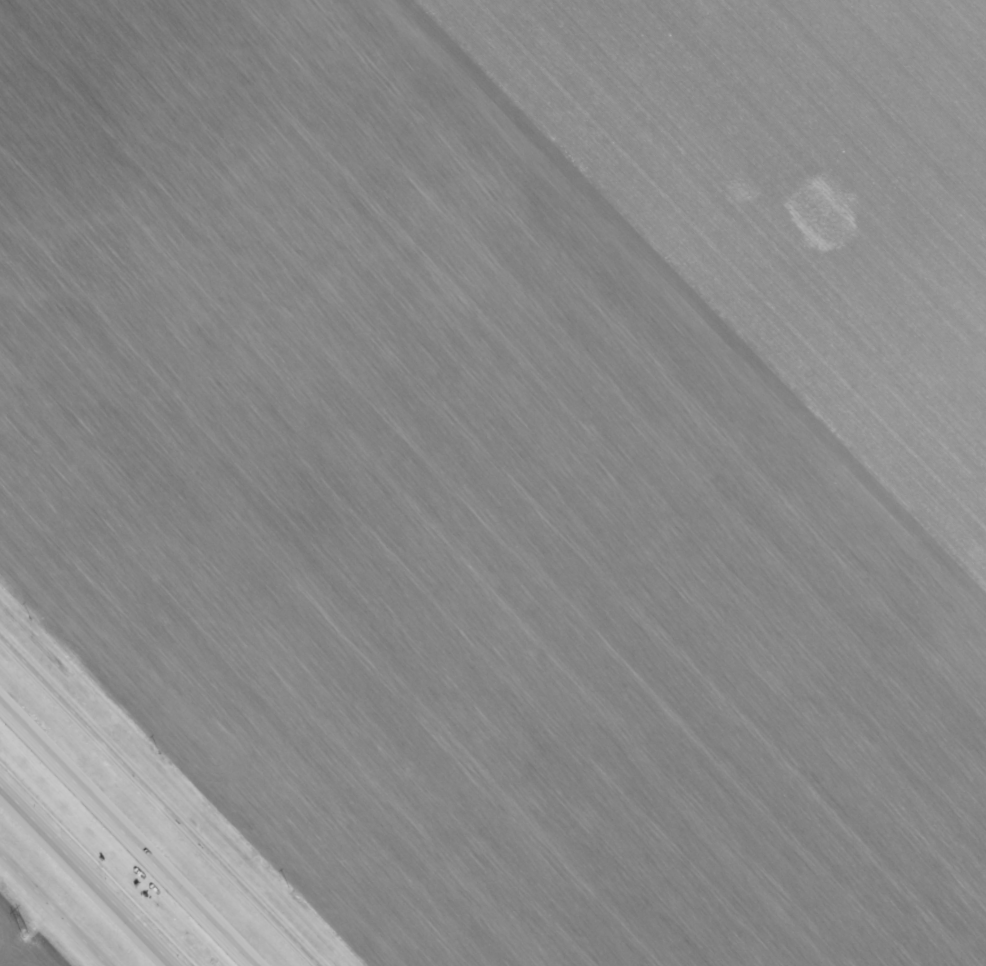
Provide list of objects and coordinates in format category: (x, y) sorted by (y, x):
road: (161, 797)
road: (127, 833)
road: (87, 875)
road: (53, 910)
power tower: (25, 935)

